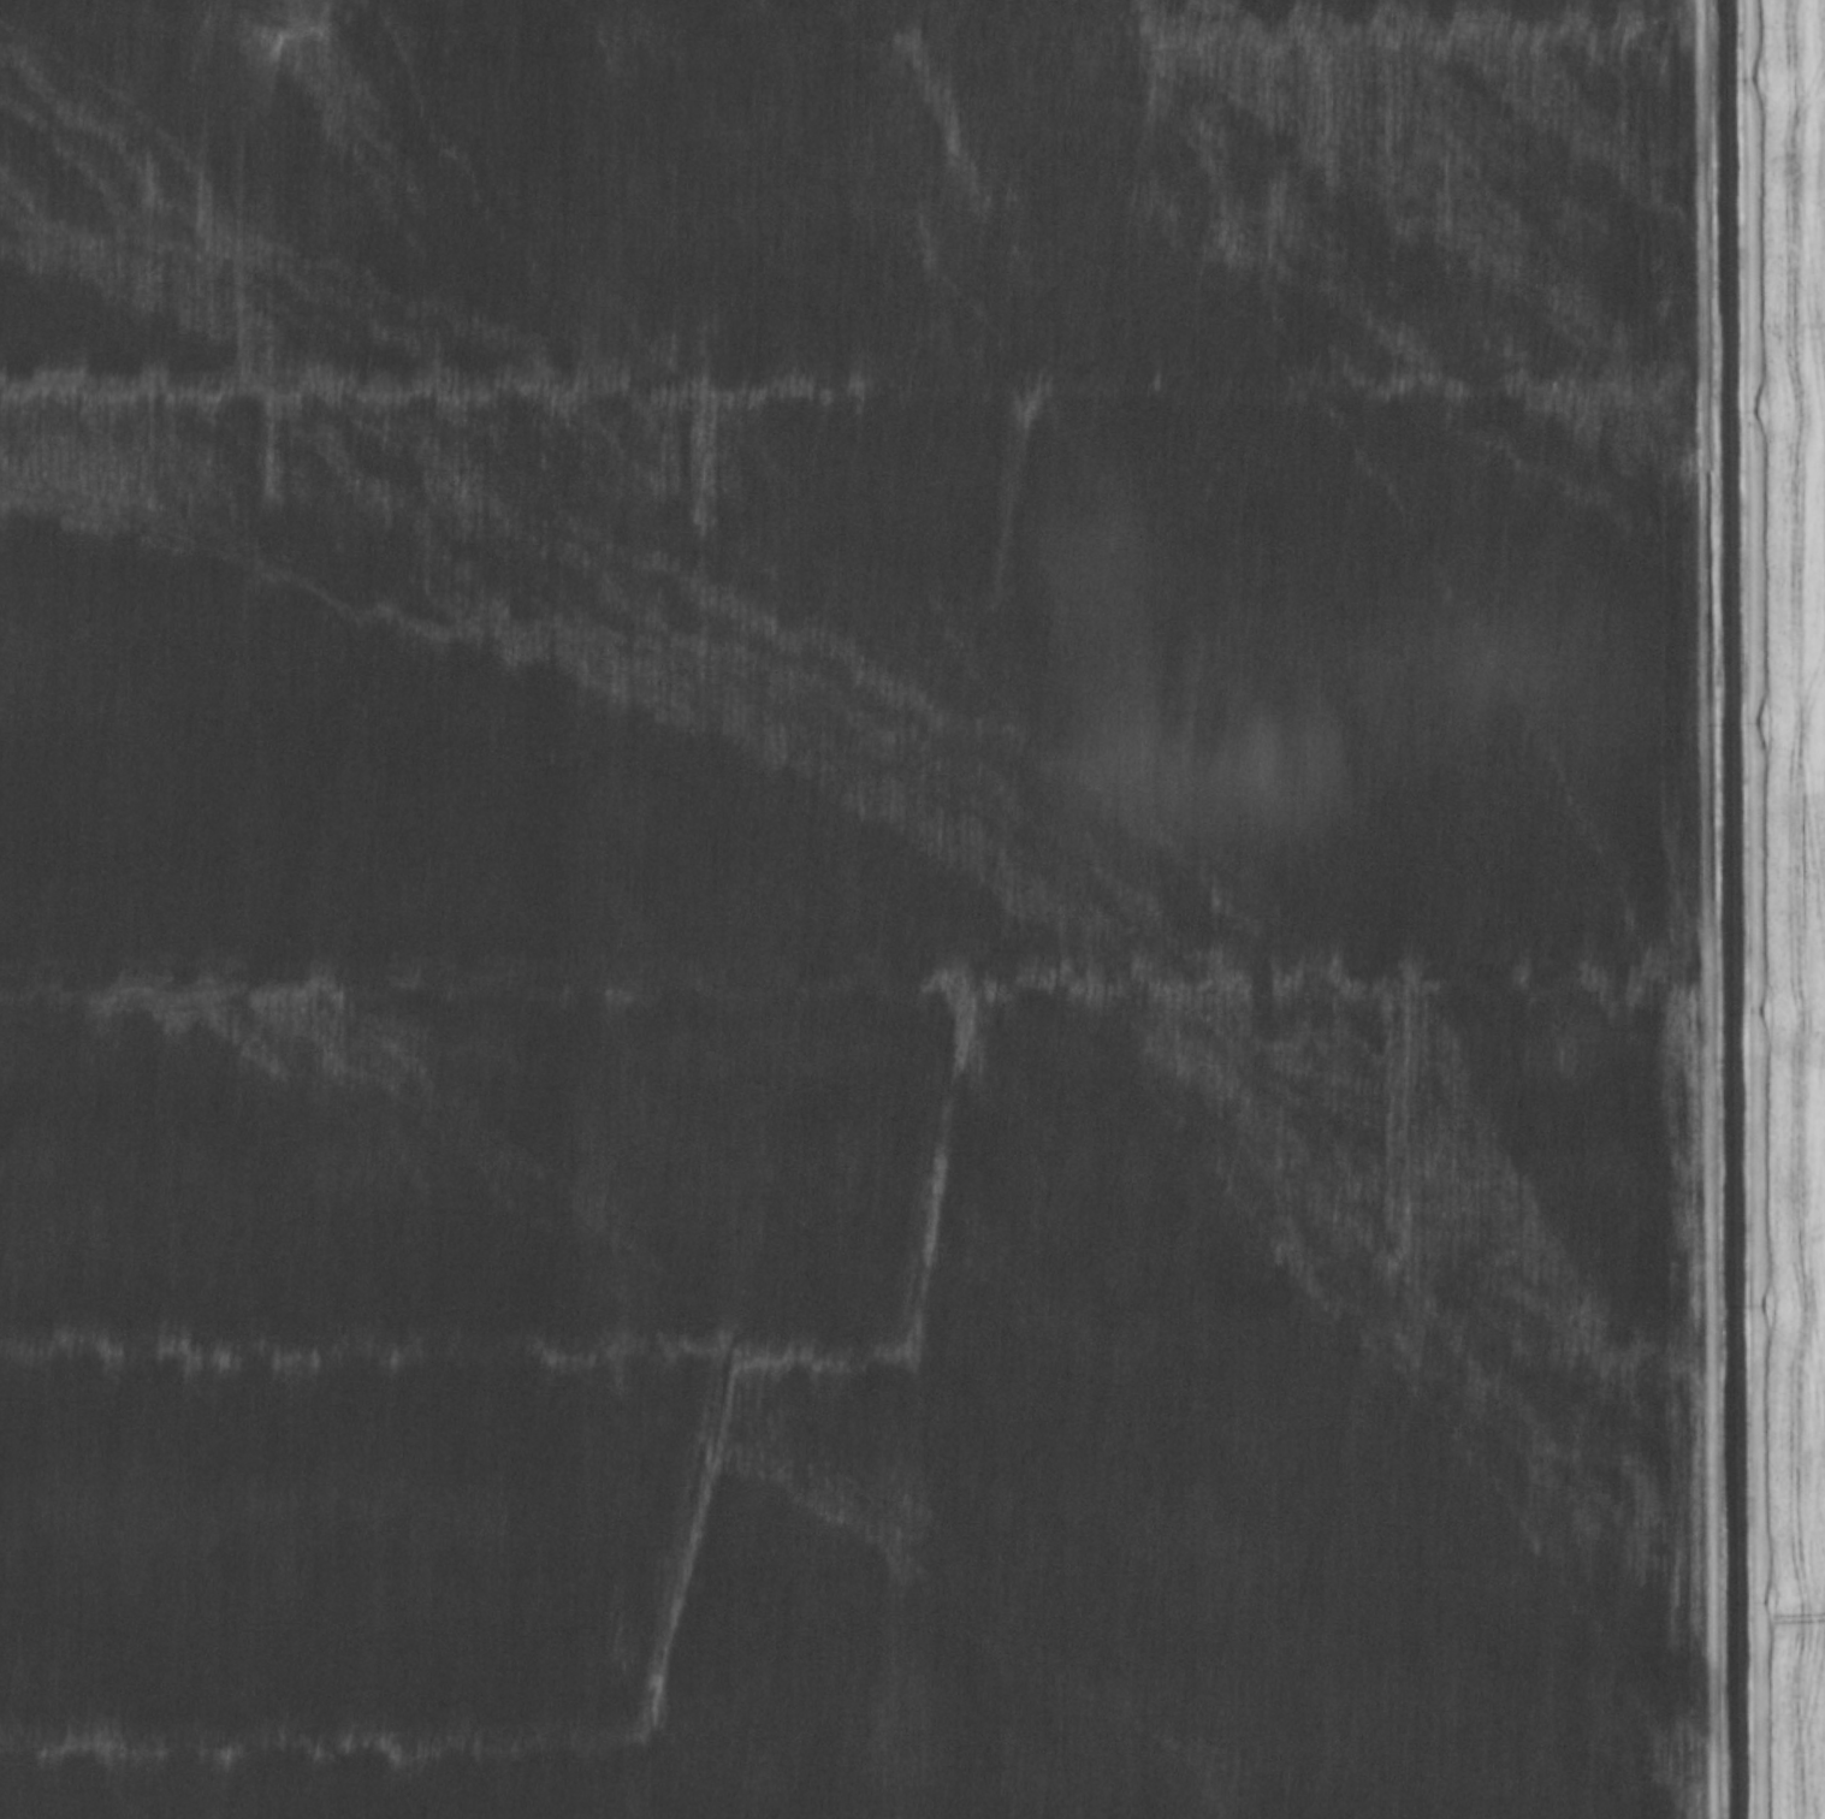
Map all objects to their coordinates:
road: (1740, 908)

